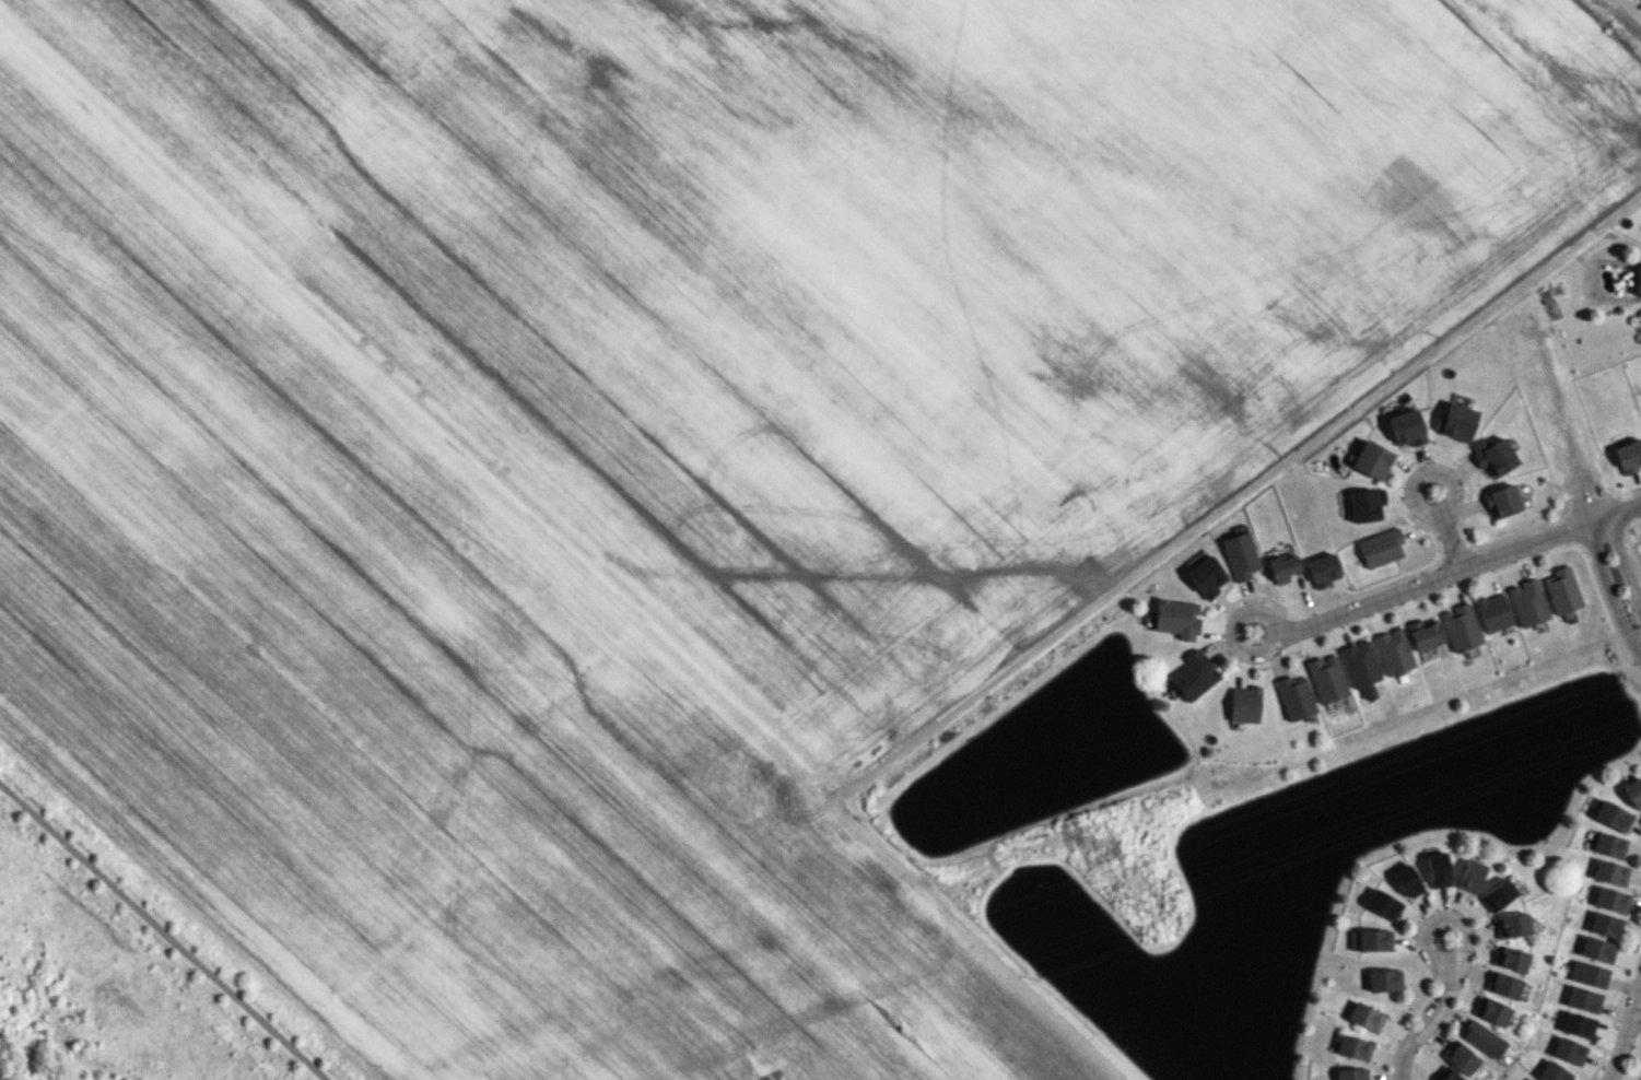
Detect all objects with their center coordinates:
road: (1630, 9)
building: (1638, 281)
building: (1455, 422)
building: (1406, 427)
building: (1629, 455)
building: (1493, 456)
building: (1372, 459)
road: (1425, 470)
road: (1265, 476)
building: (1502, 501)
building: (1364, 506)
road: (1624, 509)
road: (1449, 542)
building: (1381, 547)
building: (1240, 555)
road: (1622, 565)
building: (1284, 567)
building: (1323, 570)
building: (1206, 577)
road: (1441, 577)
building: (1562, 590)
road: (1608, 594)
building: (1527, 602)
building: (1493, 612)
building: (1177, 619)
building: (1461, 627)
road: (1274, 631)
building: (1425, 634)
building: (1393, 651)
building: (1360, 664)
building: (1194, 676)
building: (1326, 678)
building: (1296, 697)
building: (1244, 704)
building: (1634, 794)
building: (1613, 815)
building: (1609, 845)
power tower: (1110, 848)
building: (1438, 869)
building: (1610, 872)
building: (1470, 876)
building: (1407, 881)
building: (1498, 895)
building: (1611, 900)
power tower: (1146, 904)
building: (1383, 904)
building: (1512, 925)
building: (1605, 925)
road: (160, 934)
building: (1371, 940)
road: (1425, 940)
building: (1597, 950)
building: (1510, 959)
building: (1589, 974)
building: (1384, 979)
building: (1503, 985)
building: (1583, 999)
building: (1492, 1011)
building: (1365, 1017)
road: (1426, 1021)
building: (1579, 1025)
road: (1626, 1030)
building: (1484, 1038)
building: (1353, 1047)
building: (1569, 1050)
building: (1461, 1057)
building: (1554, 1072)
building: (1351, 1073)
building: (1446, 1075)
building: (1532, 1079)

